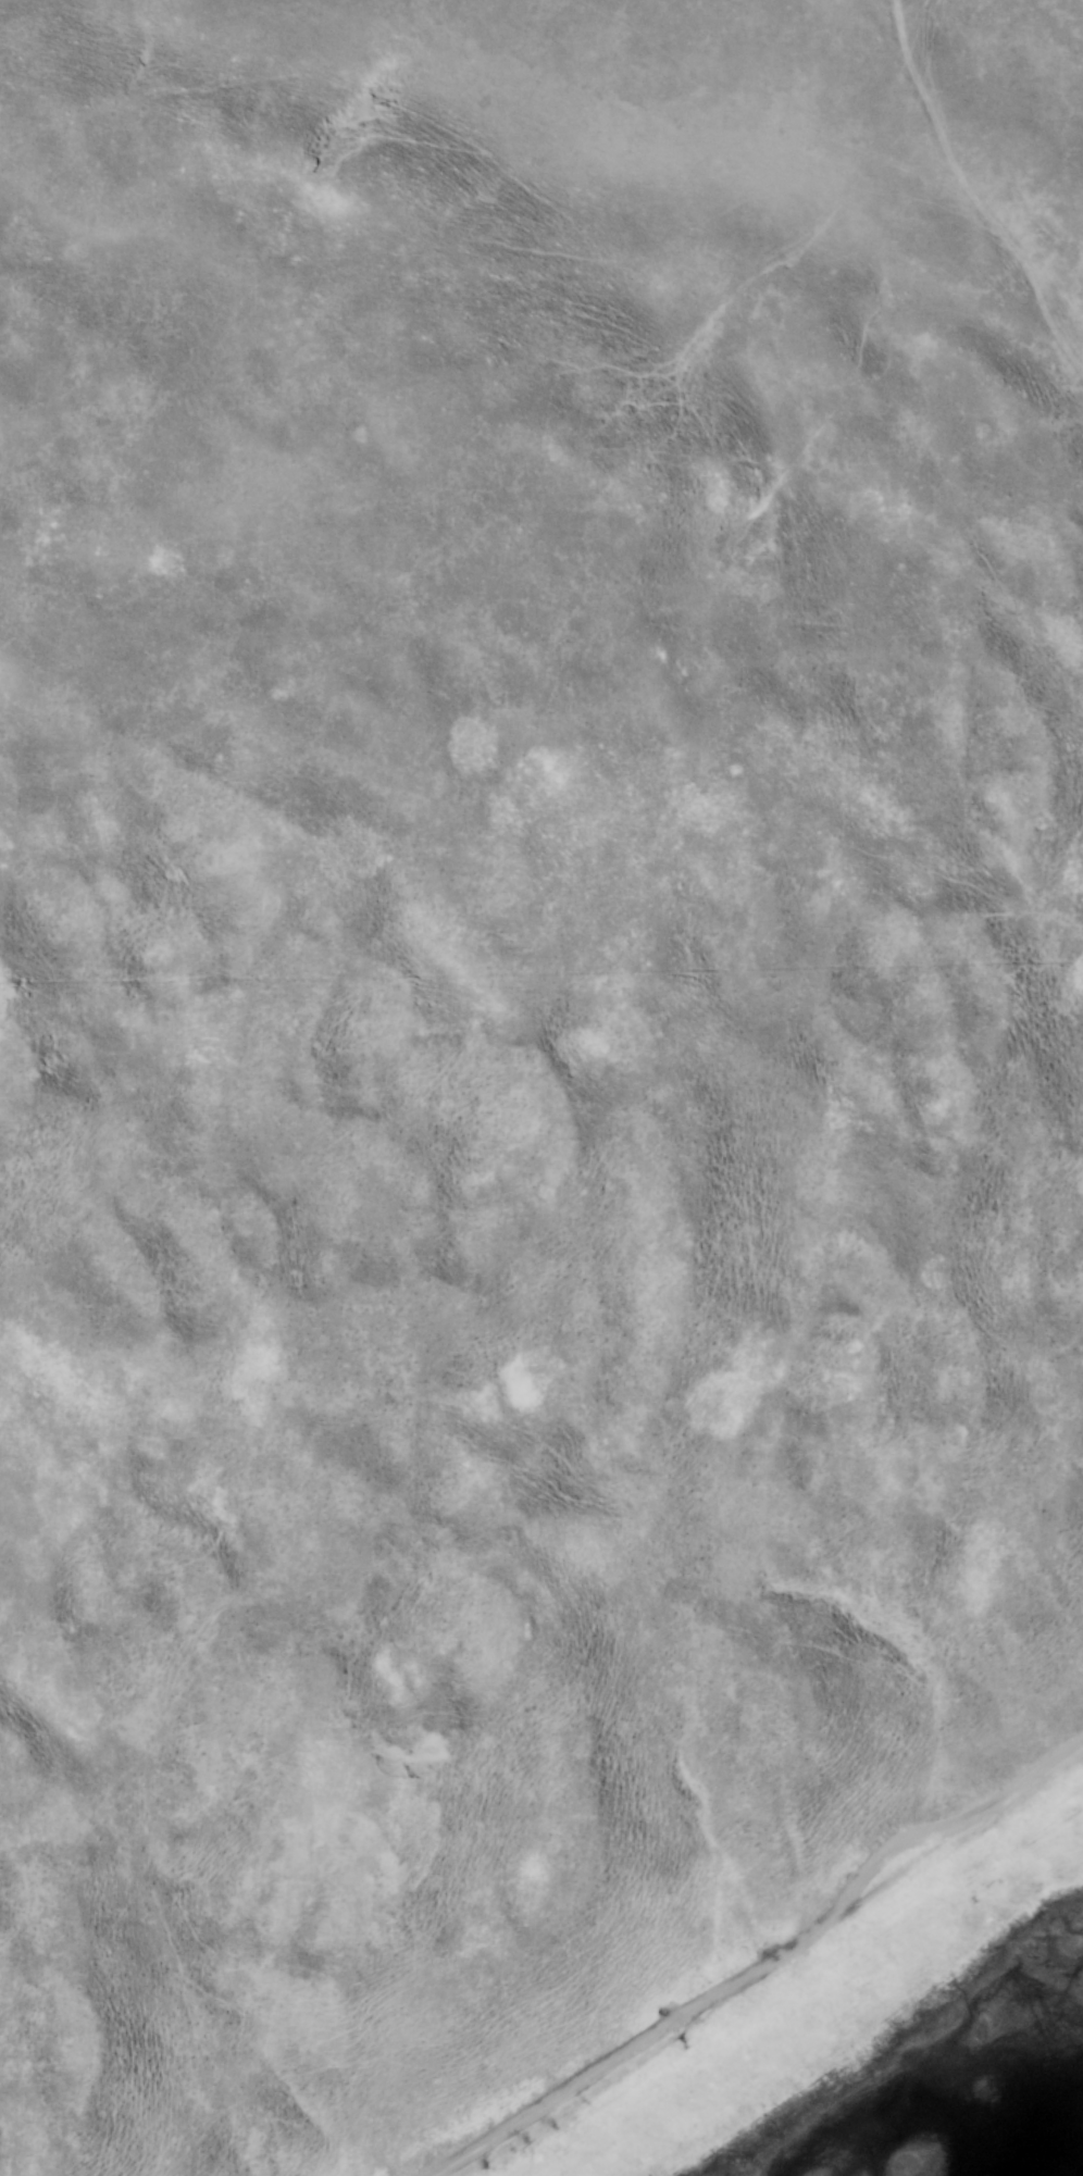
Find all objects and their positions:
airport runway: (824, 2019)

